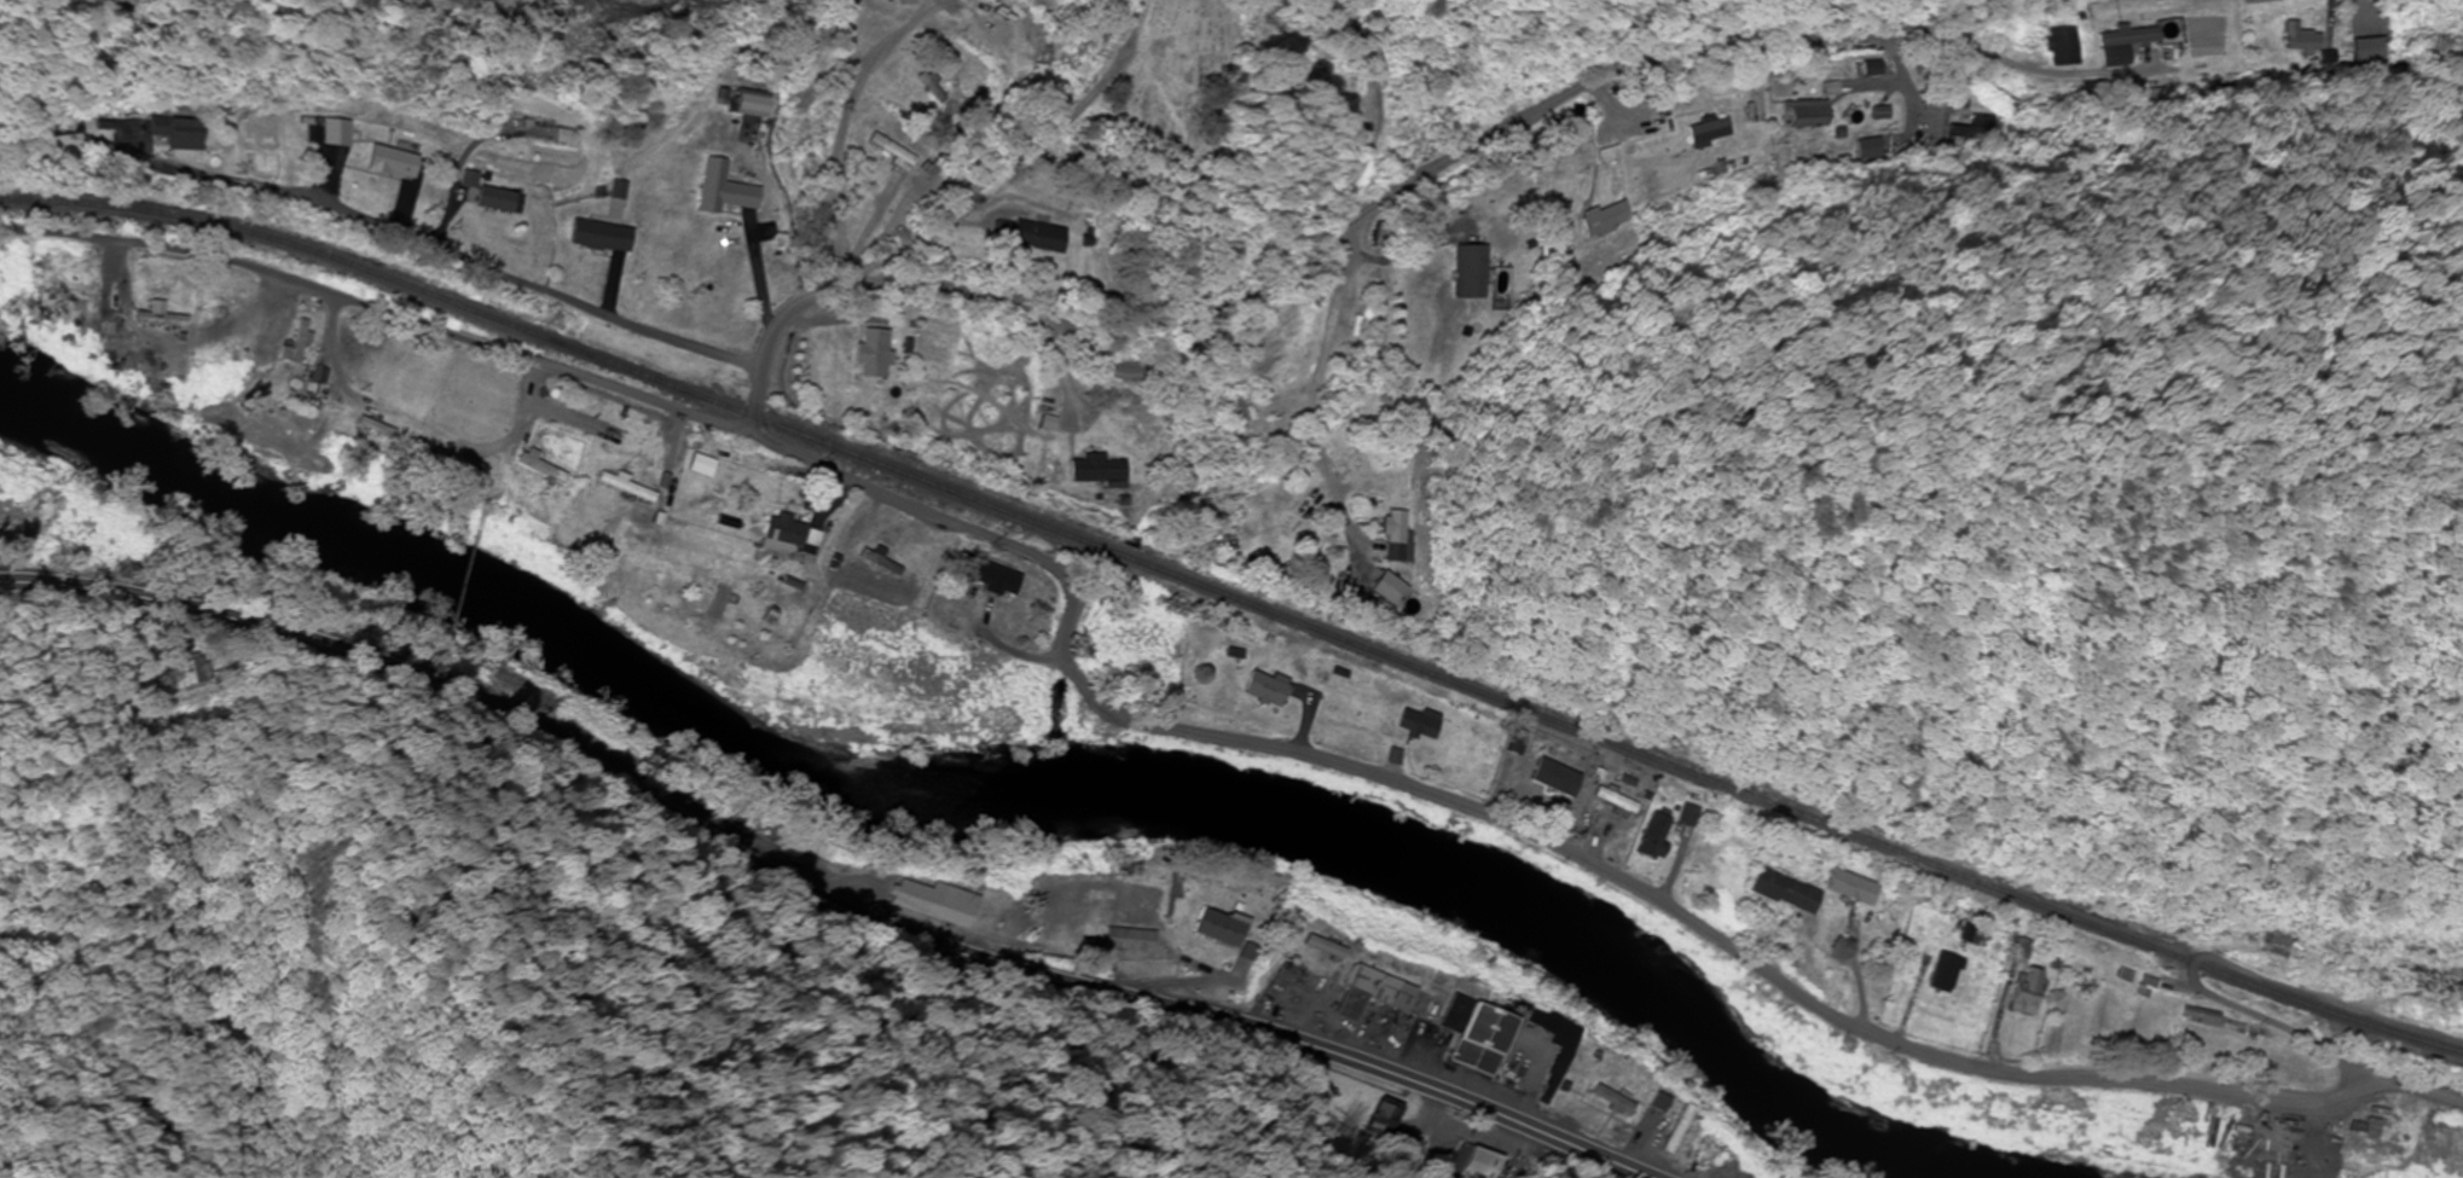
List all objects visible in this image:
building: (998, 18)
building: (2123, 45)
building: (2063, 48)
building: (1829, 89)
park: (1180, 95)
building: (1755, 99)
building: (1804, 115)
building: (151, 130)
building: (1706, 132)
building: (328, 133)
road: (847, 135)
building: (893, 152)
building: (1605, 155)
building: (387, 163)
building: (720, 190)
building: (620, 191)
building: (496, 201)
building: (1609, 220)
road: (1340, 233)
building: (601, 237)
building: (1032, 237)
road: (446, 249)
building: (1468, 272)
building: (152, 317)
road: (835, 321)
building: (88, 329)
building: (295, 344)
building: (873, 354)
building: (1233, 412)
building: (1099, 471)
building: (782, 533)
building: (1399, 538)
building: (983, 578)
railway: (1236, 600)
building: (201, 673)
building: (1257, 690)
building: (1415, 724)
road: (1180, 733)
building: (1612, 801)
river: (960, 817)
building: (1686, 818)
road: (819, 886)
building: (1849, 889)
building: (1779, 892)
building: (1213, 930)
building: (1126, 941)
building: (2274, 942)
building: (1938, 974)
building: (2462, 988)
building: (1361, 994)
building: (2018, 996)
building: (1467, 1037)
building: (1600, 1102)
road: (2329, 1126)
building: (1390, 1132)
building: (1696, 1157)
road: (2322, 1165)
building: (1482, 1166)

